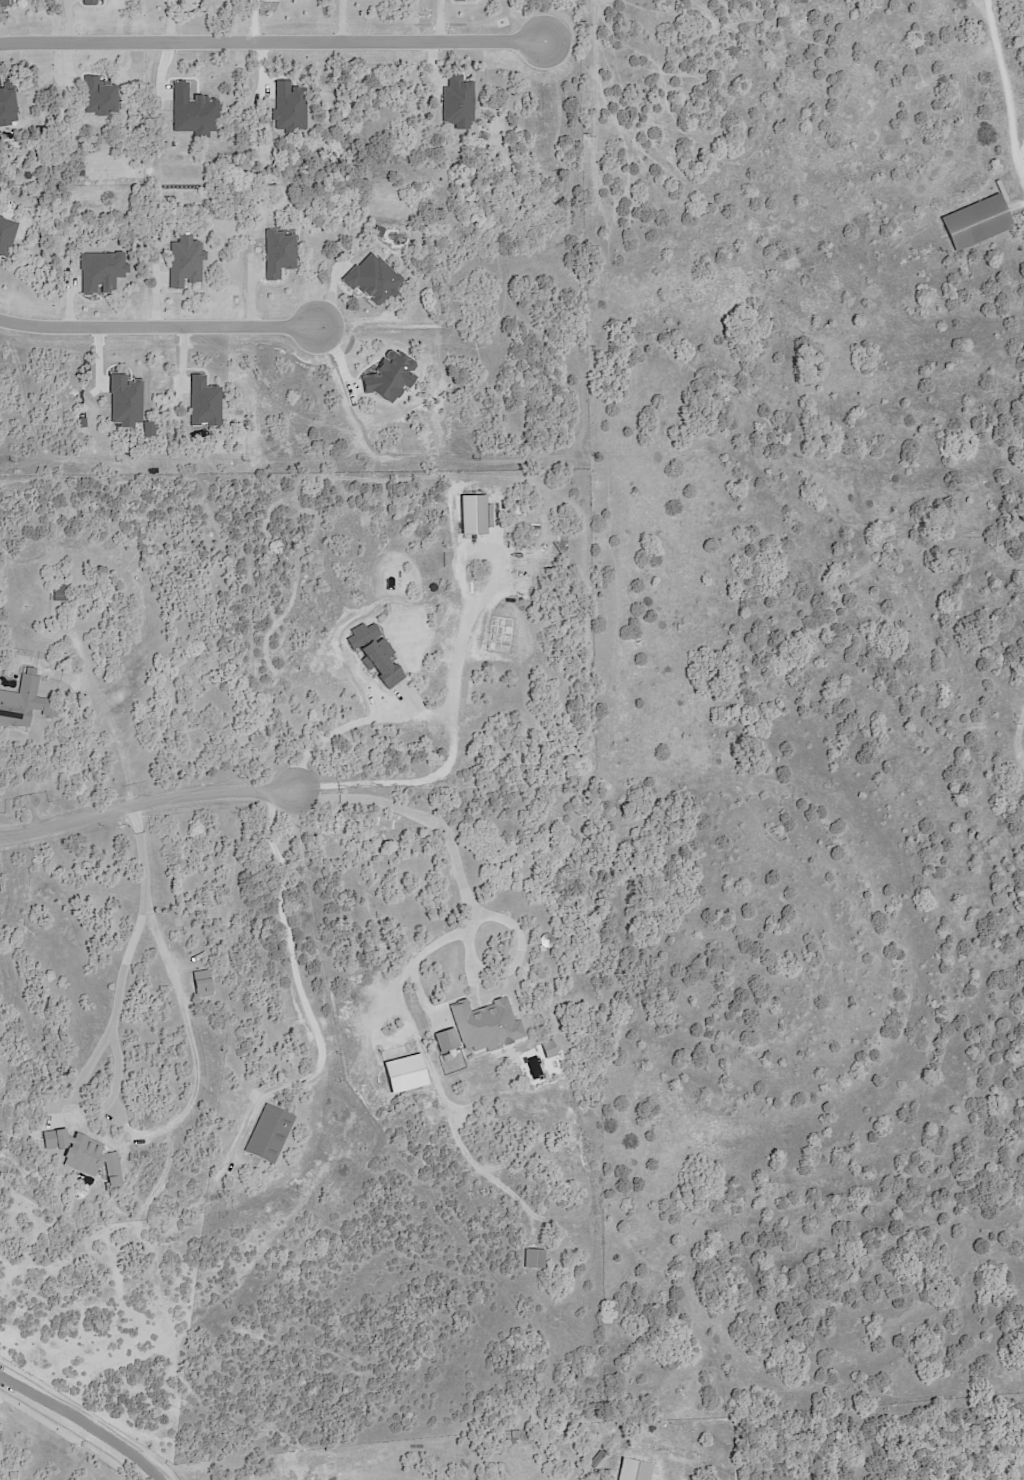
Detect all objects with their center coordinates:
road: (272, 37)
road: (1006, 92)
building: (977, 223)
road: (156, 325)
building: (58, 590)
building: (21, 701)
road: (358, 722)
road: (449, 743)
road: (23, 775)
road: (145, 799)
road: (437, 825)
road: (286, 927)
road: (120, 1014)
building: (271, 1135)
road: (89, 1422)
building: (516, 1434)
building: (0, 1438)
building: (633, 1470)

